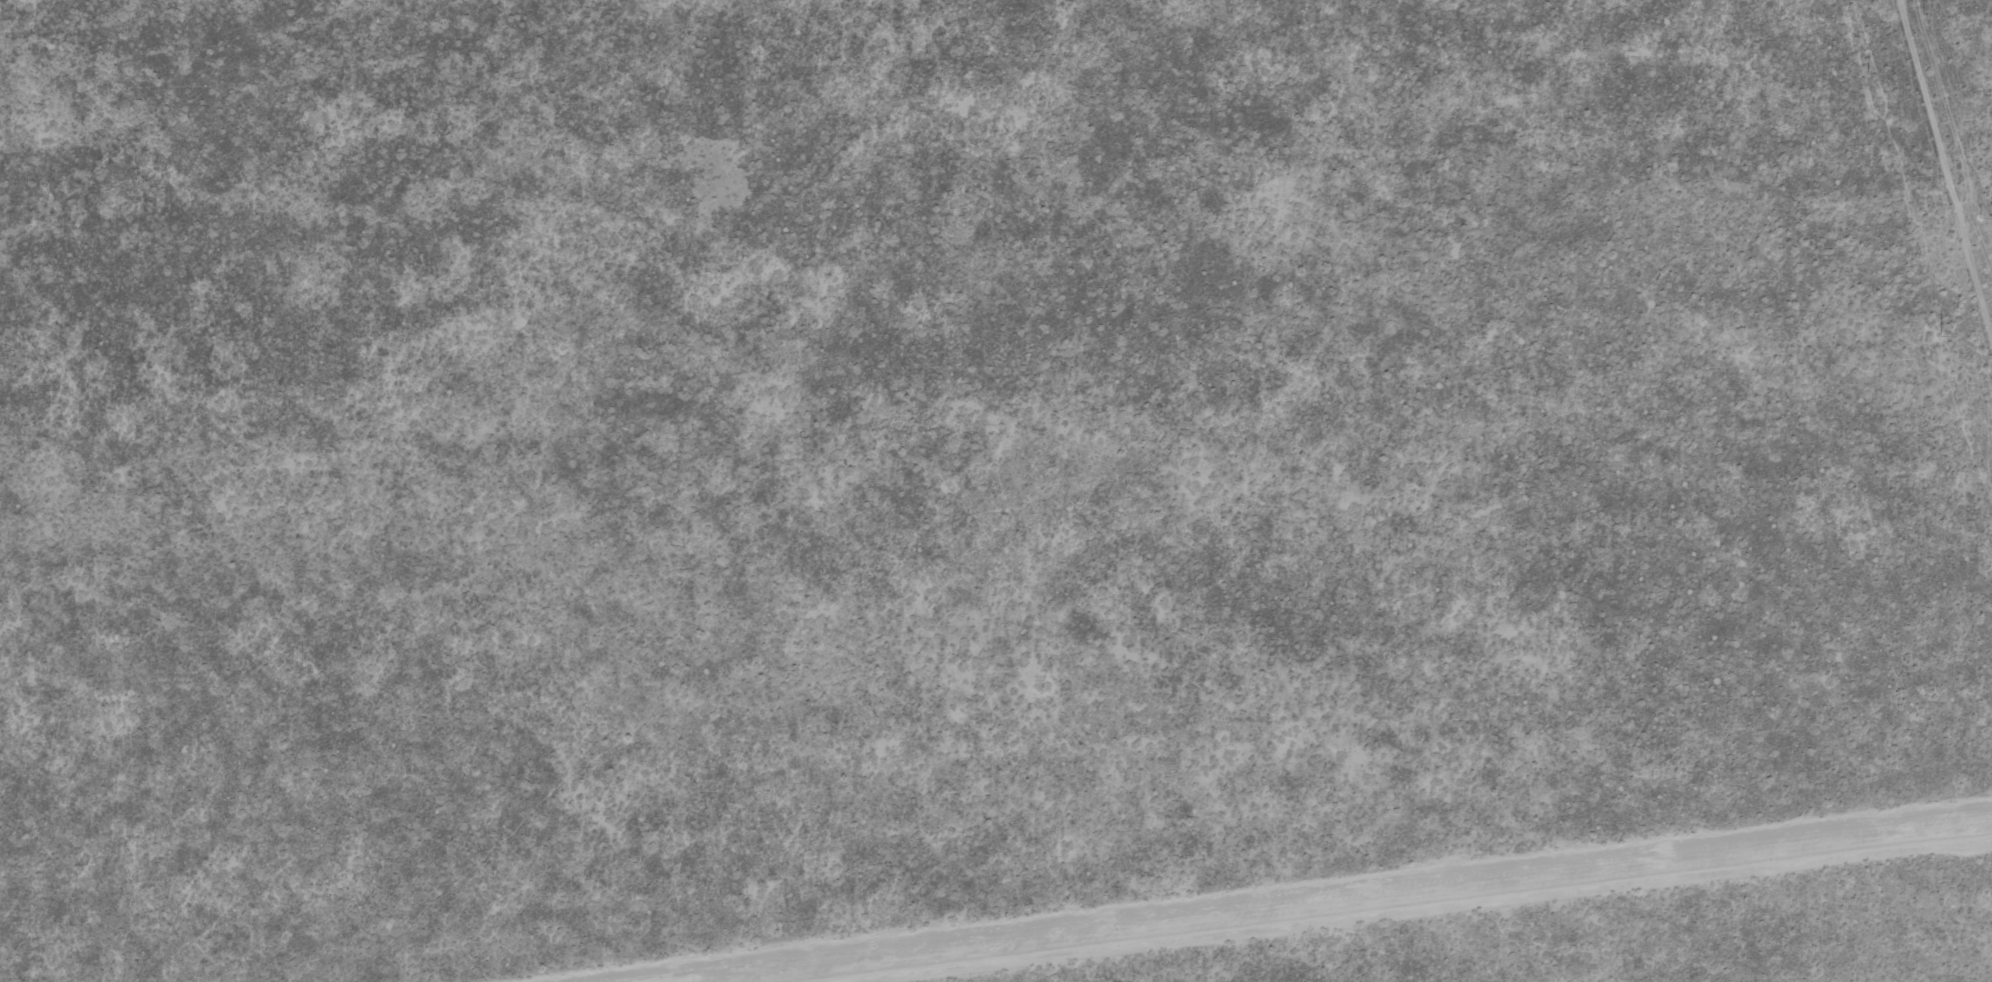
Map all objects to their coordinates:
power tower: (1863, 75)
power tower: (1937, 338)

